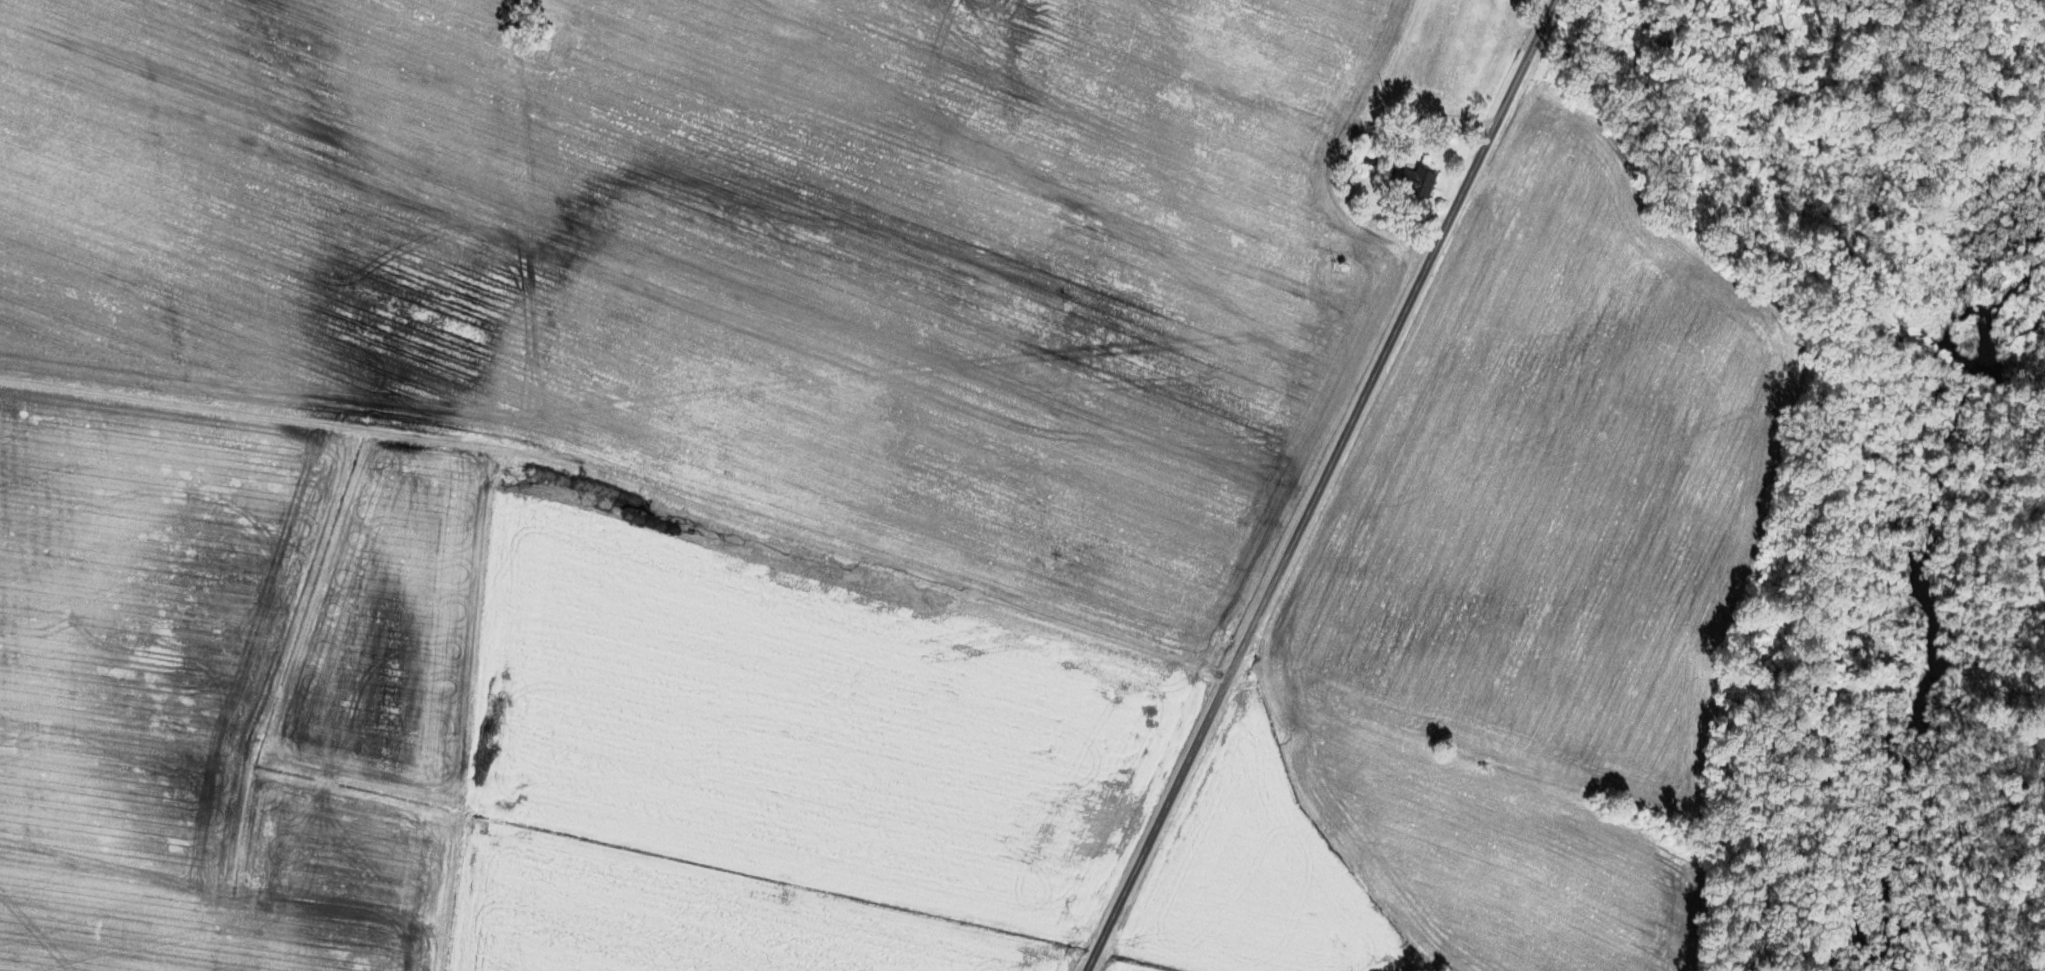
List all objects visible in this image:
building: (1408, 180)
road: (623, 485)
road: (1320, 485)

